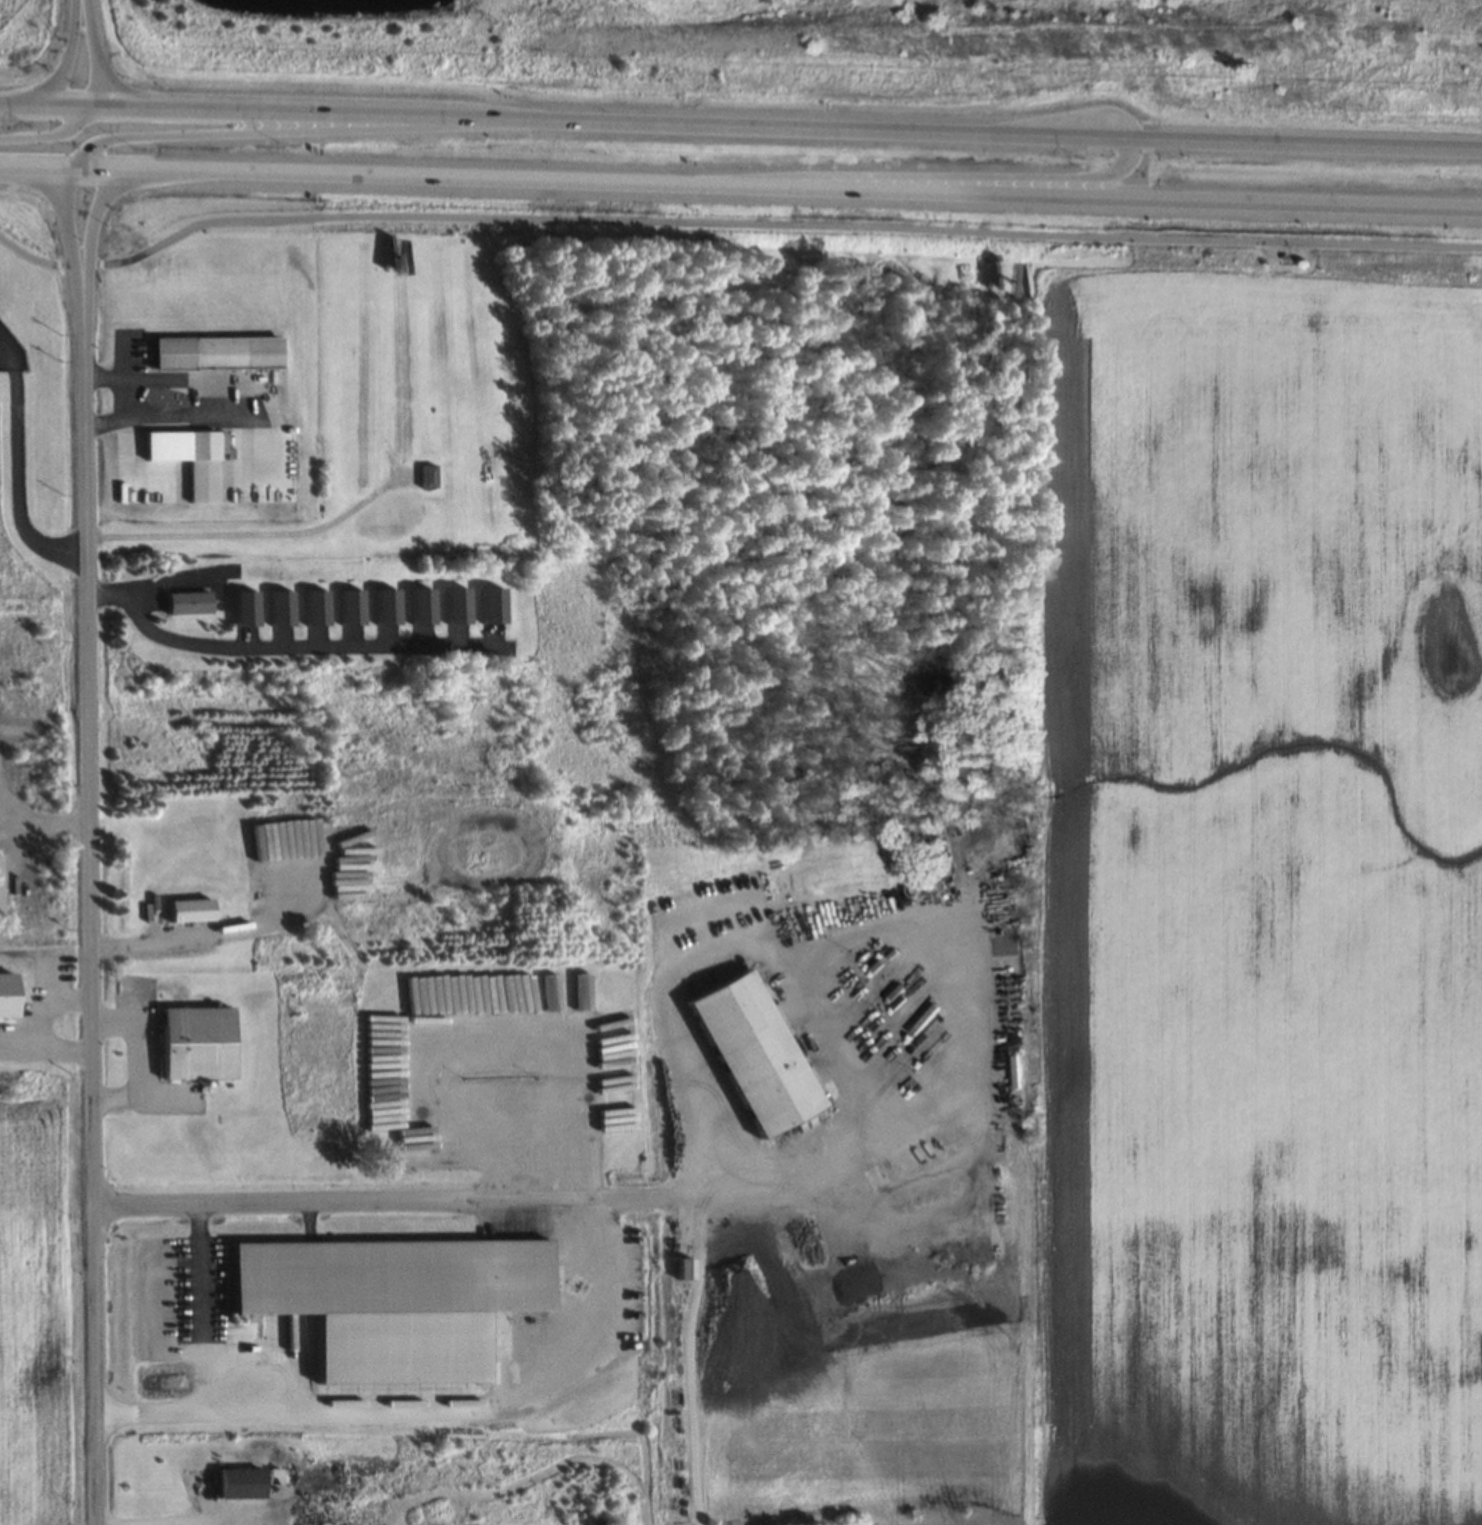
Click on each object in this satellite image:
road: (83, 3)
quarry: (900, 31)
road: (98, 56)
road: (65, 59)
road: (741, 125)
road: (280, 130)
road: (47, 132)
road: (894, 176)
road: (741, 185)
road: (95, 213)
road: (66, 220)
road: (732, 226)
building: (211, 352)
building: (195, 465)
building: (423, 475)
building: (185, 602)
building: (417, 604)
building: (452, 604)
building: (487, 604)
building: (379, 605)
building: (309, 606)
building: (343, 606)
building: (238, 607)
building: (273, 607)
building: (3, 884)
road: (92, 895)
building: (196, 910)
road: (214, 932)
road: (793, 989)
building: (201, 1042)
building: (744, 1052)
building: (1012, 1071)
road: (372, 1200)
building: (679, 1268)
building: (385, 1301)
road: (202, 1304)
road: (423, 1405)
building: (243, 1482)
road: (196, 1522)

